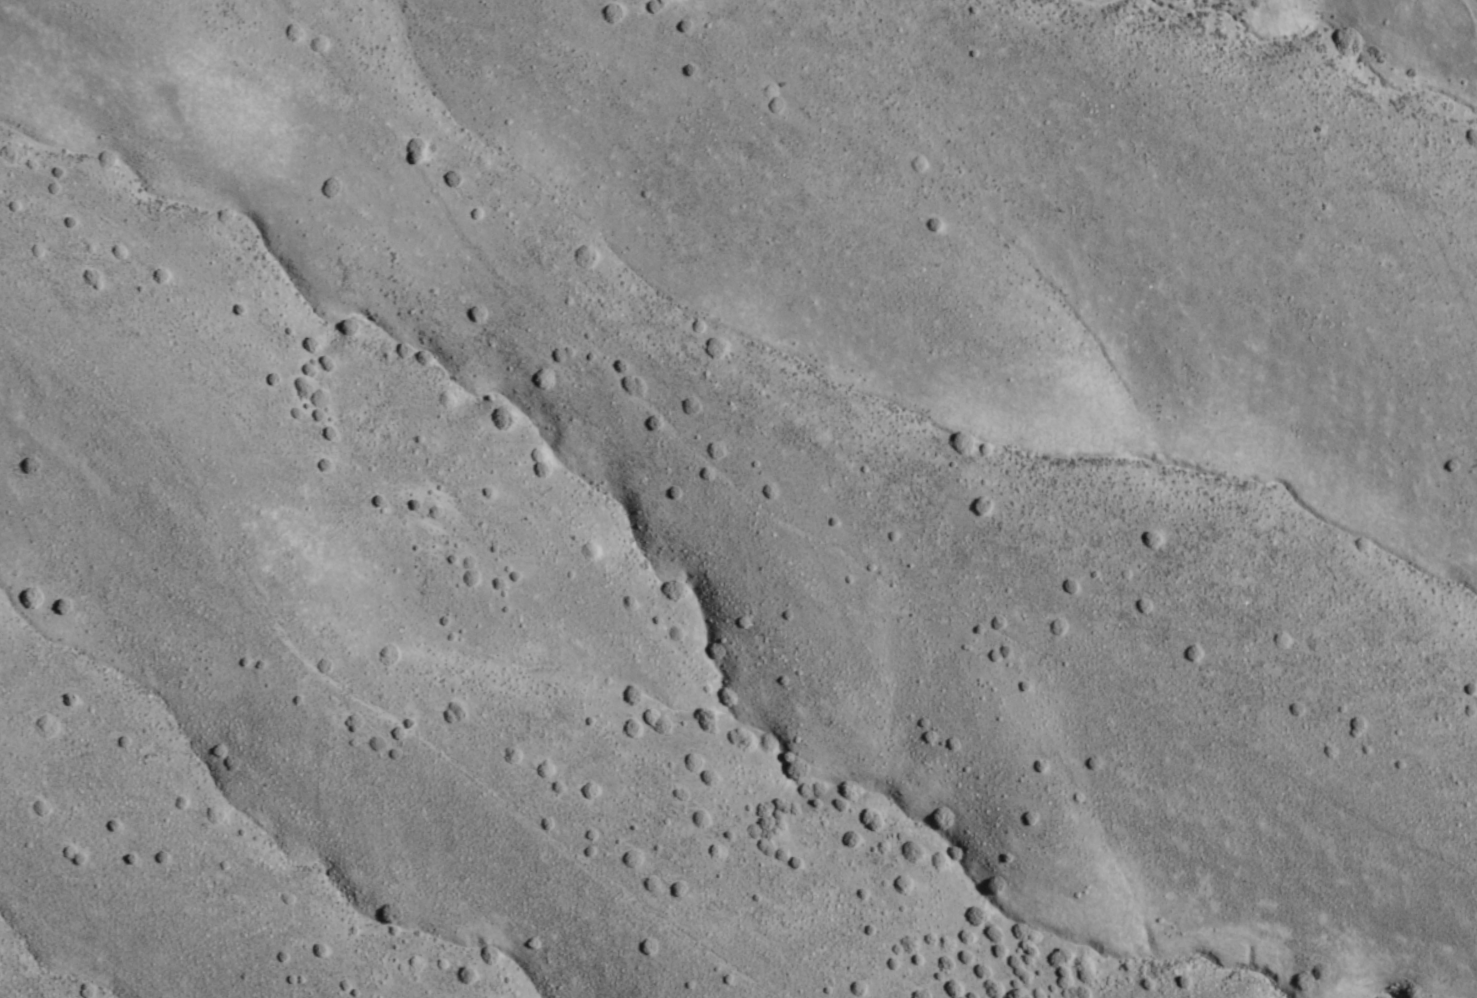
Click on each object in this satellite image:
road: (1475, 1)

